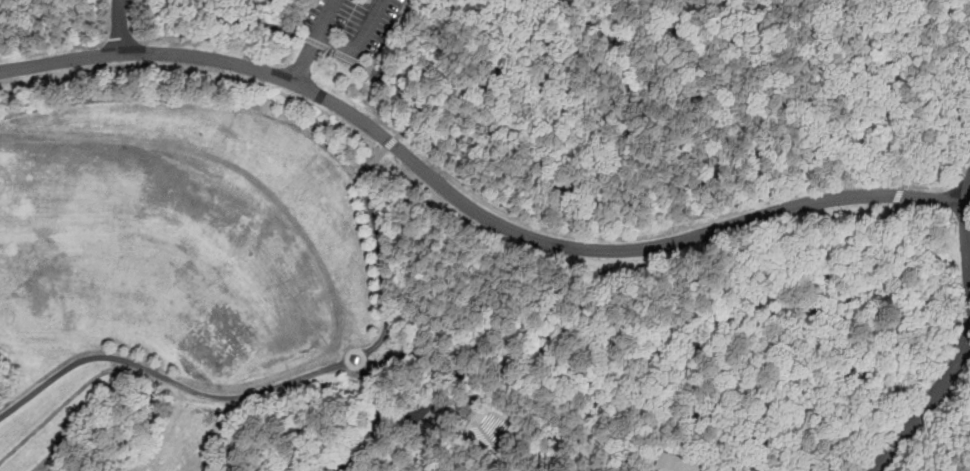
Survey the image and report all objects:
road: (13, 4)
road: (326, 20)
road: (121, 26)
parking lot: (353, 29)
road: (369, 29)
road: (389, 35)
road: (321, 41)
road: (314, 43)
road: (551, 55)
road: (899, 58)
road: (190, 100)
road: (407, 125)
road: (468, 206)
road: (967, 224)
park: (485, 235)
road: (455, 247)
road: (380, 253)
road: (912, 267)
road: (911, 282)
road: (731, 317)
park: (225, 349)
road: (352, 350)
road: (745, 369)
road: (62, 372)
road: (246, 396)
road: (63, 404)
road: (926, 404)
building: (465, 407)
road: (499, 415)
road: (377, 421)
road: (411, 421)
parking lot: (414, 423)
road: (461, 430)
road: (484, 434)
road: (507, 434)
road: (530, 448)
road: (439, 453)
building: (677, 463)

